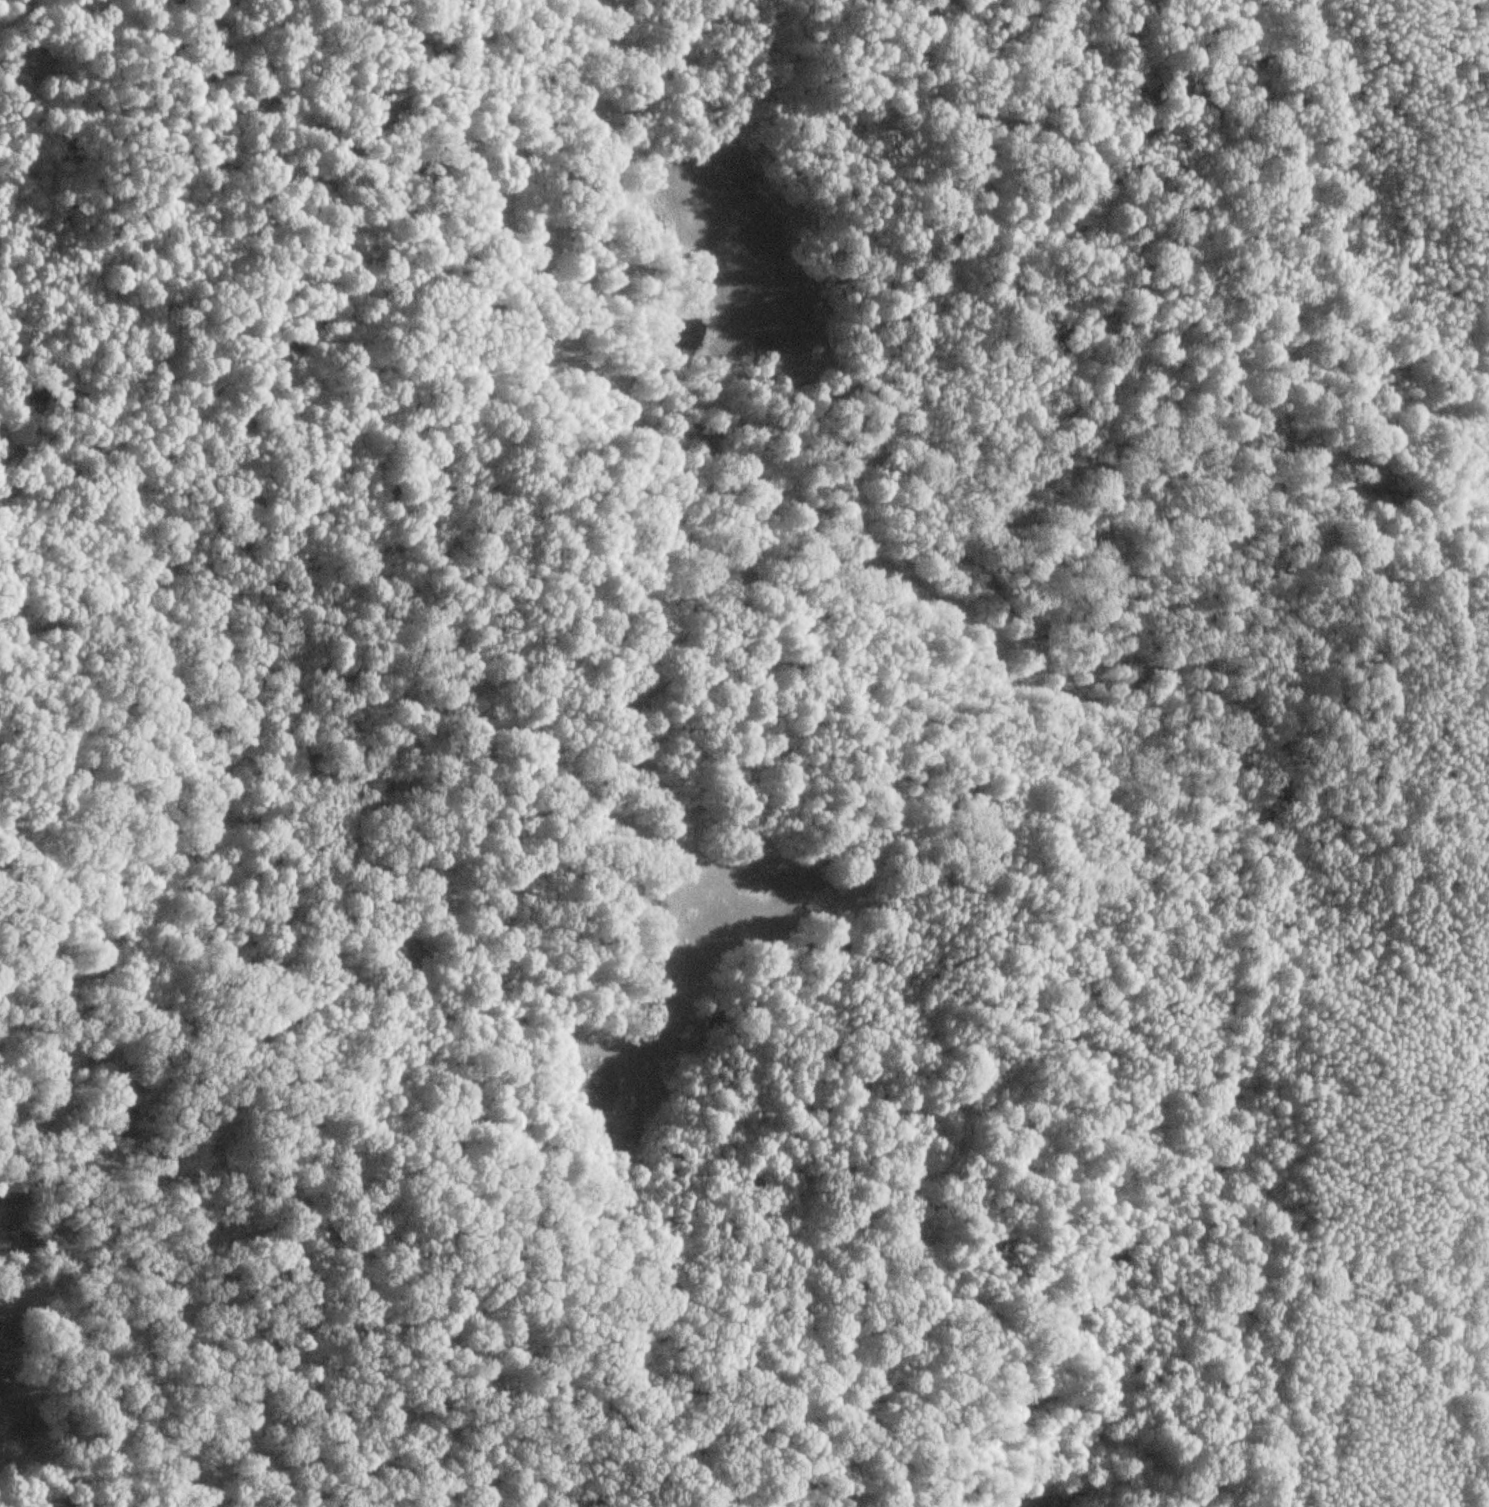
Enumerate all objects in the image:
road: (709, 956)

